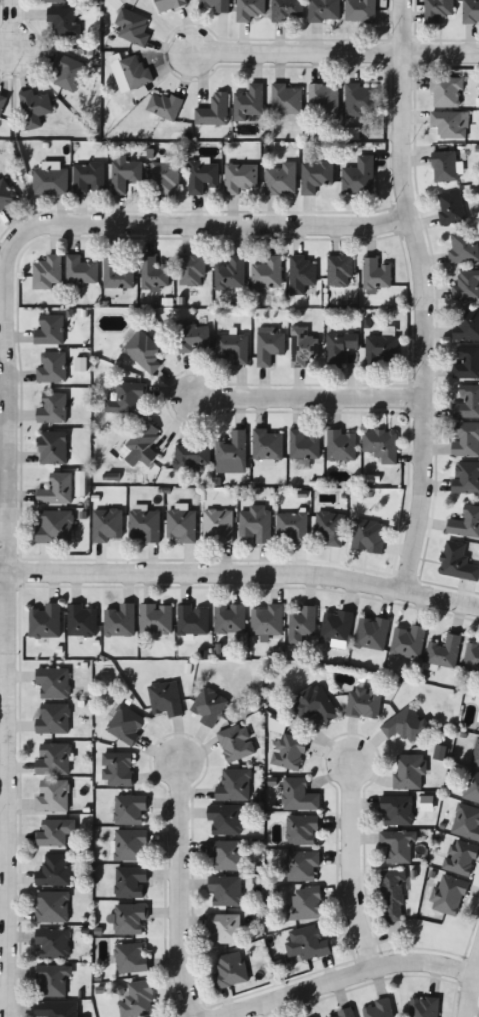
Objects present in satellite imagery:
building: (54, 0)
building: (167, 4)
building: (215, 5)
building: (250, 9)
building: (286, 10)
building: (322, 10)
building: (436, 10)
building: (359, 11)
building: (470, 11)
building: (63, 20)
building: (132, 26)
road: (6, 28)
road: (295, 50)
road: (439, 54)
building: (68, 72)
building: (134, 72)
building: (446, 92)
building: (323, 98)
building: (361, 100)
building: (249, 102)
building: (2, 103)
building: (165, 105)
building: (34, 107)
building: (213, 111)
building: (449, 124)
building: (443, 166)
building: (124, 173)
building: (315, 175)
building: (202, 176)
building: (358, 176)
building: (239, 177)
building: (89, 178)
building: (164, 178)
building: (280, 179)
building: (50, 181)
building: (6, 194)
building: (450, 208)
road: (192, 222)
building: (462, 246)
building: (80, 269)
building: (191, 270)
building: (339, 270)
building: (47, 272)
building: (230, 273)
building: (267, 273)
building: (117, 274)
building: (154, 274)
building: (301, 274)
building: (375, 274)
building: (466, 285)
road: (421, 296)
building: (466, 325)
building: (49, 330)
building: (191, 337)
building: (232, 347)
building: (268, 347)
building: (303, 347)
building: (339, 347)
building: (380, 349)
building: (143, 352)
building: (466, 362)
building: (51, 367)
building: (128, 399)
road: (305, 401)
building: (467, 402)
building: (52, 408)
building: (466, 439)
building: (142, 445)
building: (267, 445)
building: (303, 445)
building: (341, 445)
building: (381, 445)
building: (53, 448)
building: (232, 448)
building: (192, 456)
building: (465, 478)
building: (56, 489)
building: (255, 523)
building: (465, 523)
building: (107, 524)
building: (144, 525)
building: (181, 525)
building: (217, 525)
building: (54, 526)
building: (292, 528)
building: (329, 528)
building: (368, 536)
building: (456, 562)
road: (240, 574)
building: (156, 618)
building: (229, 619)
building: (119, 620)
building: (267, 620)
building: (45, 621)
building: (82, 621)
building: (193, 621)
building: (301, 624)
building: (336, 626)
building: (371, 633)
building: (407, 642)
building: (443, 652)
building: (471, 658)
road: (4, 668)
building: (52, 682)
building: (164, 698)
building: (363, 702)
building: (314, 704)
building: (208, 706)
building: (52, 718)
building: (126, 725)
building: (405, 725)
building: (478, 729)
building: (235, 742)
building: (289, 751)
building: (475, 754)
building: (52, 758)
building: (118, 769)
building: (409, 772)
building: (234, 785)
building: (471, 787)
building: (52, 795)
building: (298, 795)
building: (129, 808)
building: (395, 810)
building: (224, 820)
building: (465, 822)
building: (302, 830)
building: (54, 832)
building: (130, 845)
building: (396, 845)
building: (225, 855)
building: (459, 858)
building: (301, 866)
road: (351, 866)
building: (54, 871)
building: (130, 883)
road: (176, 889)
building: (224, 890)
building: (391, 896)
building: (448, 896)
building: (305, 904)
building: (52, 907)
building: (130, 919)
building: (223, 928)
building: (52, 943)
building: (306, 944)
building: (131, 958)
building: (230, 970)
road: (353, 976)
building: (51, 981)
road: (468, 981)
building: (138, 1000)
building: (424, 1007)
building: (56, 1009)
building: (379, 1009)
building: (342, 1014)

